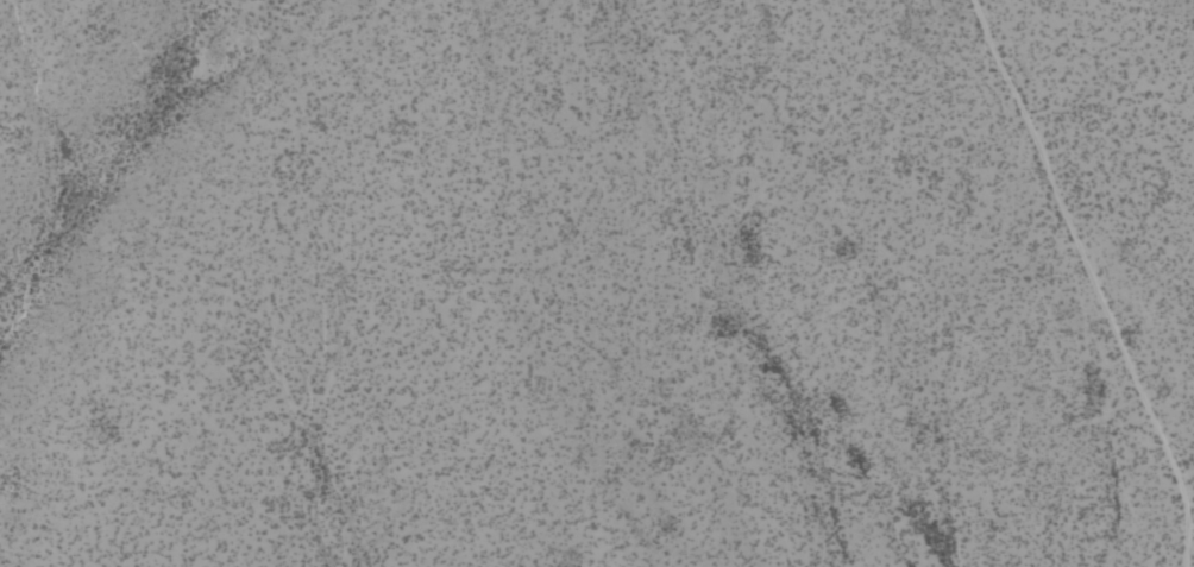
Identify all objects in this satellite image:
road: (1089, 279)

